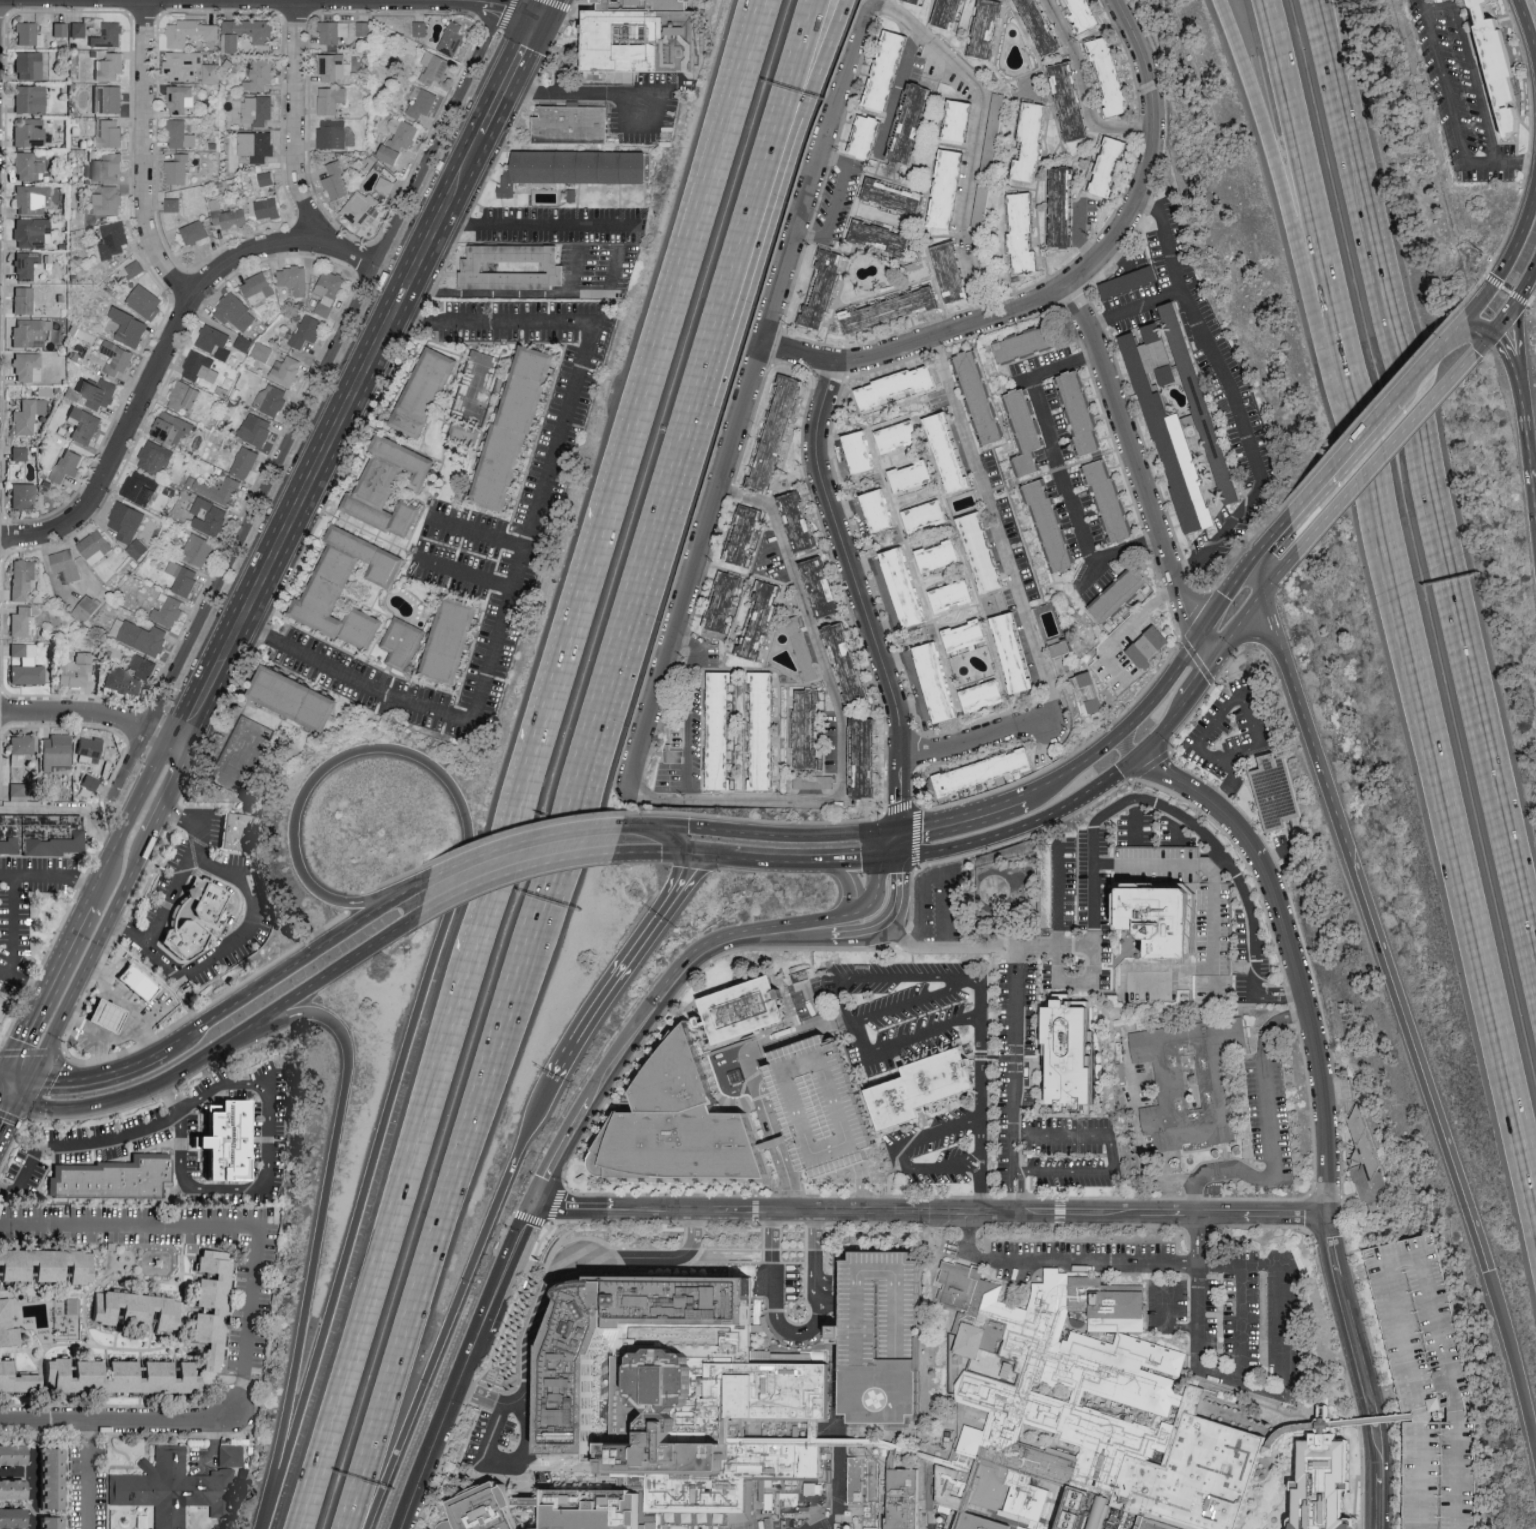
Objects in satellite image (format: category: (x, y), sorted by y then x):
building: (916, 1)
road: (499, 8)
road: (542, 11)
building: (951, 13)
building: (1087, 14)
traffic signals: (537, 23)
building: (1043, 26)
building: (364, 27)
building: (60, 28)
building: (78, 28)
building: (420, 28)
building: (988, 28)
road: (1528, 29)
building: (190, 31)
building: (334, 32)
building: (29, 34)
building: (109, 35)
building: (233, 37)
building: (453, 38)
building: (634, 38)
building: (29, 65)
building: (183, 65)
building: (110, 66)
building: (335, 66)
building: (435, 67)
building: (1496, 68)
building: (891, 69)
road: (1470, 70)
building: (212, 73)
building: (261, 75)
building: (1111, 75)
road: (798, 76)
road: (808, 76)
road: (510, 78)
road: (1082, 90)
road: (617, 92)
parking lot: (1460, 93)
building: (30, 99)
building: (180, 99)
building: (331, 99)
building: (1073, 101)
road: (1349, 104)
road: (1338, 105)
building: (258, 109)
road: (1454, 116)
building: (964, 119)
road: (295, 120)
building: (915, 122)
building: (572, 124)
building: (995, 130)
building: (29, 132)
building: (109, 132)
building: (332, 133)
building: (180, 134)
building: (869, 136)
building: (400, 139)
building: (1032, 140)
road: (976, 143)
building: (257, 145)
road: (1153, 154)
road: (1278, 154)
road: (143, 155)
road: (1300, 157)
building: (27, 166)
building: (109, 166)
building: (1111, 166)
building: (576, 167)
building: (178, 168)
building: (266, 178)
building: (336, 180)
building: (385, 184)
building: (951, 188)
building: (897, 196)
building: (32, 199)
building: (109, 200)
building: (173, 204)
building: (1065, 206)
building: (361, 207)
building: (268, 208)
building: (228, 215)
road: (540, 225)
building: (32, 231)
building: (195, 232)
building: (1025, 232)
road: (1522, 233)
building: (884, 237)
building: (115, 238)
road: (1078, 238)
road: (1166, 244)
road: (688, 257)
building: (26, 264)
building: (514, 266)
road: (577, 269)
building: (955, 271)
building: (294, 279)
building: (1133, 280)
road: (1530, 280)
building: (258, 288)
building: (825, 288)
building: (329, 292)
road: (532, 292)
building: (24, 299)
road: (1483, 299)
building: (147, 301)
traffic signals: (1483, 301)
building: (893, 309)
building: (235, 312)
road: (1508, 314)
building: (130, 327)
traffic signals: (1515, 327)
road: (1478, 329)
building: (308, 330)
building: (31, 332)
building: (215, 341)
road: (1516, 341)
building: (243, 342)
road: (919, 343)
building: (1027, 343)
traffic signals: (1496, 344)
road: (1481, 346)
road: (164, 351)
building: (262, 351)
traffic signals: (1477, 352)
road: (1506, 353)
building: (117, 357)
road: (1430, 359)
road: (1064, 365)
building: (28, 366)
building: (201, 366)
building: (288, 371)
road: (1024, 379)
building: (899, 386)
park: (475, 388)
building: (425, 391)
building: (99, 392)
road: (750, 393)
building: (185, 395)
building: (980, 395)
road: (1233, 397)
building: (271, 399)
building: (1203, 401)
road: (306, 403)
road: (1519, 403)
building: (1083, 412)
building: (28, 415)
building: (84, 424)
building: (519, 426)
building: (257, 429)
building: (464, 430)
building: (1173, 430)
building: (1026, 431)
building: (779, 432)
building: (903, 435)
road: (329, 443)
road: (1385, 450)
building: (864, 451)
building: (953, 451)
building: (19, 453)
building: (156, 457)
road: (1342, 457)
road: (1135, 459)
road: (1528, 461)
building: (245, 462)
building: (67, 464)
road: (1063, 473)
building: (916, 475)
building: (391, 486)
building: (143, 487)
building: (221, 489)
building: (24, 495)
building: (1113, 502)
road: (1534, 502)
building: (883, 510)
road: (665, 512)
building: (209, 516)
building: (930, 516)
building: (127, 521)
building: (802, 521)
building: (1051, 525)
road: (996, 527)
road: (476, 532)
building: (746, 535)
road: (1274, 535)
road: (525, 539)
building: (96, 546)
building: (197, 548)
building: (137, 549)
road: (1127, 551)
building: (990, 552)
building: (943, 556)
road: (1182, 561)
building: (67, 564)
road: (1281, 569)
road: (463, 572)
road: (1259, 572)
road: (1449, 576)
building: (23, 577)
building: (183, 577)
road: (1087, 580)
building: (331, 585)
building: (824, 587)
road: (1227, 592)
road: (862, 594)
building: (956, 595)
building: (1121, 595)
building: (726, 601)
building: (88, 608)
building: (169, 611)
road: (1245, 612)
road: (1268, 613)
building: (23, 621)
building: (762, 621)
road: (1126, 627)
road: (1252, 633)
building: (968, 635)
building: (142, 636)
building: (455, 640)
building: (402, 643)
road: (1207, 645)
building: (1063, 646)
building: (1152, 646)
road: (1222, 647)
building: (1016, 653)
building: (849, 663)
building: (27, 665)
building: (809, 666)
building: (76, 669)
building: (130, 675)
road: (1201, 678)
building: (941, 682)
road: (1160, 686)
building: (1089, 693)
building: (986, 695)
road: (1206, 695)
building: (298, 698)
road: (1247, 707)
road: (692, 711)
road: (94, 715)
road: (1171, 718)
road: (844, 725)
building: (810, 729)
building: (765, 730)
building: (721, 731)
road: (547, 736)
road: (981, 740)
road: (1147, 747)
building: (21, 748)
road: (1128, 748)
building: (90, 749)
building: (57, 752)
road: (1315, 753)
building: (676, 755)
building: (864, 758)
road: (1165, 760)
road: (1429, 761)
road: (1132, 765)
building: (988, 771)
road: (1075, 773)
road: (1151, 775)
building: (667, 776)
building: (90, 782)
building: (814, 782)
building: (18, 789)
building: (1282, 792)
road: (169, 795)
road: (68, 808)
road: (1179, 814)
road: (1224, 816)
road: (184, 817)
road: (962, 820)
road: (1137, 821)
road: (124, 822)
traffic signals: (897, 829)
road: (1179, 829)
building: (235, 831)
road: (1018, 832)
road: (637, 833)
building: (40, 834)
road: (777, 834)
road: (676, 840)
road: (896, 843)
road: (652, 851)
traffic signals: (895, 857)
road: (519, 858)
road: (1271, 858)
road: (712, 859)
road: (814, 862)
road: (31, 874)
road: (935, 875)
road: (77, 881)
road: (849, 887)
road: (172, 889)
road: (235, 895)
road: (411, 898)
building: (205, 899)
road: (852, 912)
road: (252, 914)
road: (1214, 914)
building: (1176, 919)
road: (13, 926)
road: (774, 932)
road: (871, 932)
building: (184, 938)
road: (1062, 942)
road: (146, 946)
road: (710, 948)
road: (985, 949)
road: (91, 954)
road: (625, 971)
road: (277, 973)
road: (903, 977)
road: (22, 981)
building: (135, 981)
road: (426, 983)
road: (976, 984)
road: (41, 988)
building: (801, 990)
road: (1282, 990)
building: (0, 995)
road: (1284, 998)
road: (983, 1002)
building: (2, 1003)
road: (839, 1004)
road: (913, 1005)
building: (742, 1010)
road: (811, 1010)
gas station: (105, 1014)
building: (110, 1015)
road: (805, 1031)
road: (235, 1033)
road: (1314, 1035)
traffic signals: (18, 1039)
road: (908, 1039)
road: (628, 1041)
building: (1082, 1057)
road: (723, 1059)
road: (1018, 1060)
road: (986, 1065)
road: (1132, 1069)
road: (1424, 1069)
road: (53, 1070)
road: (754, 1070)
road: (98, 1072)
road: (15, 1074)
traffic signals: (58, 1077)
road: (761, 1082)
building: (931, 1088)
road: (23, 1090)
road: (738, 1090)
road: (759, 1090)
road: (173, 1095)
road: (8, 1100)
building: (819, 1106)
parking garage: (819, 1106)
road: (7, 1119)
traffic signals: (5, 1125)
road: (1272, 1125)
building: (691, 1126)
building: (234, 1136)
road: (89, 1144)
road: (562, 1148)
road: (783, 1148)
road: (775, 1149)
road: (901, 1149)
road: (1114, 1154)
building: (1367, 1162)
road: (985, 1166)
road: (266, 1168)
road: (1152, 1170)
building: (116, 1177)
road: (979, 1186)
road: (863, 1189)
road: (8, 1191)
road: (1011, 1192)
road: (1022, 1192)
road: (455, 1200)
traffic signals: (537, 1200)
road: (552, 1203)
road: (591, 1205)
road: (972, 1215)
road: (223, 1223)
road: (325, 1228)
road: (1196, 1240)
road: (1205, 1240)
road: (391, 1243)
road: (772, 1249)
road: (573, 1257)
road: (816, 1257)
road: (1334, 1258)
road: (1062, 1261)
building: (48, 1264)
road: (506, 1265)
road: (1199, 1265)
road: (1225, 1266)
traffic signals: (1489, 1270)
road: (1364, 1272)
road: (1198, 1273)
road: (1202, 1273)
road: (829, 1283)
building: (679, 1299)
building: (73, 1305)
building: (215, 1305)
road: (462, 1305)
building: (139, 1308)
building: (8, 1324)
road: (1167, 1325)
road: (801, 1334)
road: (1444, 1334)
building: (879, 1336)
parking garage: (879, 1336)
road: (1202, 1345)
road: (1358, 1356)
road: (1414, 1360)
road: (1516, 1360)
building: (576, 1367)
building: (123, 1375)
building: (18, 1377)
building: (1426, 1381)
parking lot: (1429, 1384)
road: (1452, 1385)
road: (1283, 1392)
road: (1394, 1393)
road: (486, 1396)
helipad: (879, 1397)
road: (117, 1421)
road: (1336, 1422)
road: (1322, 1427)
road: (438, 1430)
road: (1377, 1431)
building: (14, 1453)
building: (231, 1455)
building: (661, 1455)
road: (1463, 1455)
road: (506, 1464)
road: (35, 1475)
road: (85, 1475)
building: (54, 1477)
road: (838, 1478)
building: (858, 1481)
building: (1319, 1483)
building: (174, 1487)
building: (14, 1488)
building: (810, 1488)
road: (1382, 1490)
building: (907, 1499)
building: (14, 1516)
building: (54, 1522)
building: (976, 1522)
road: (264, 1526)

